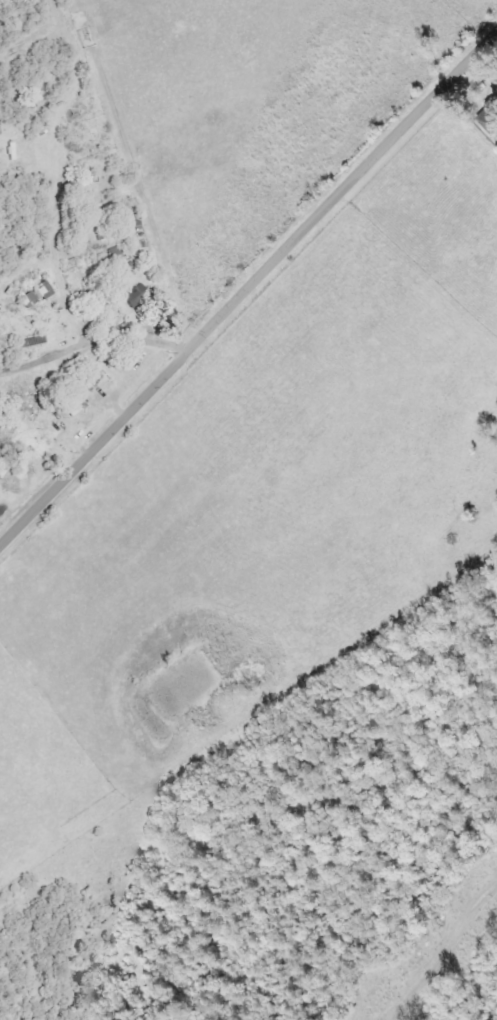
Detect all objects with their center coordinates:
road: (248, 290)
building: (38, 294)
road: (92, 345)

